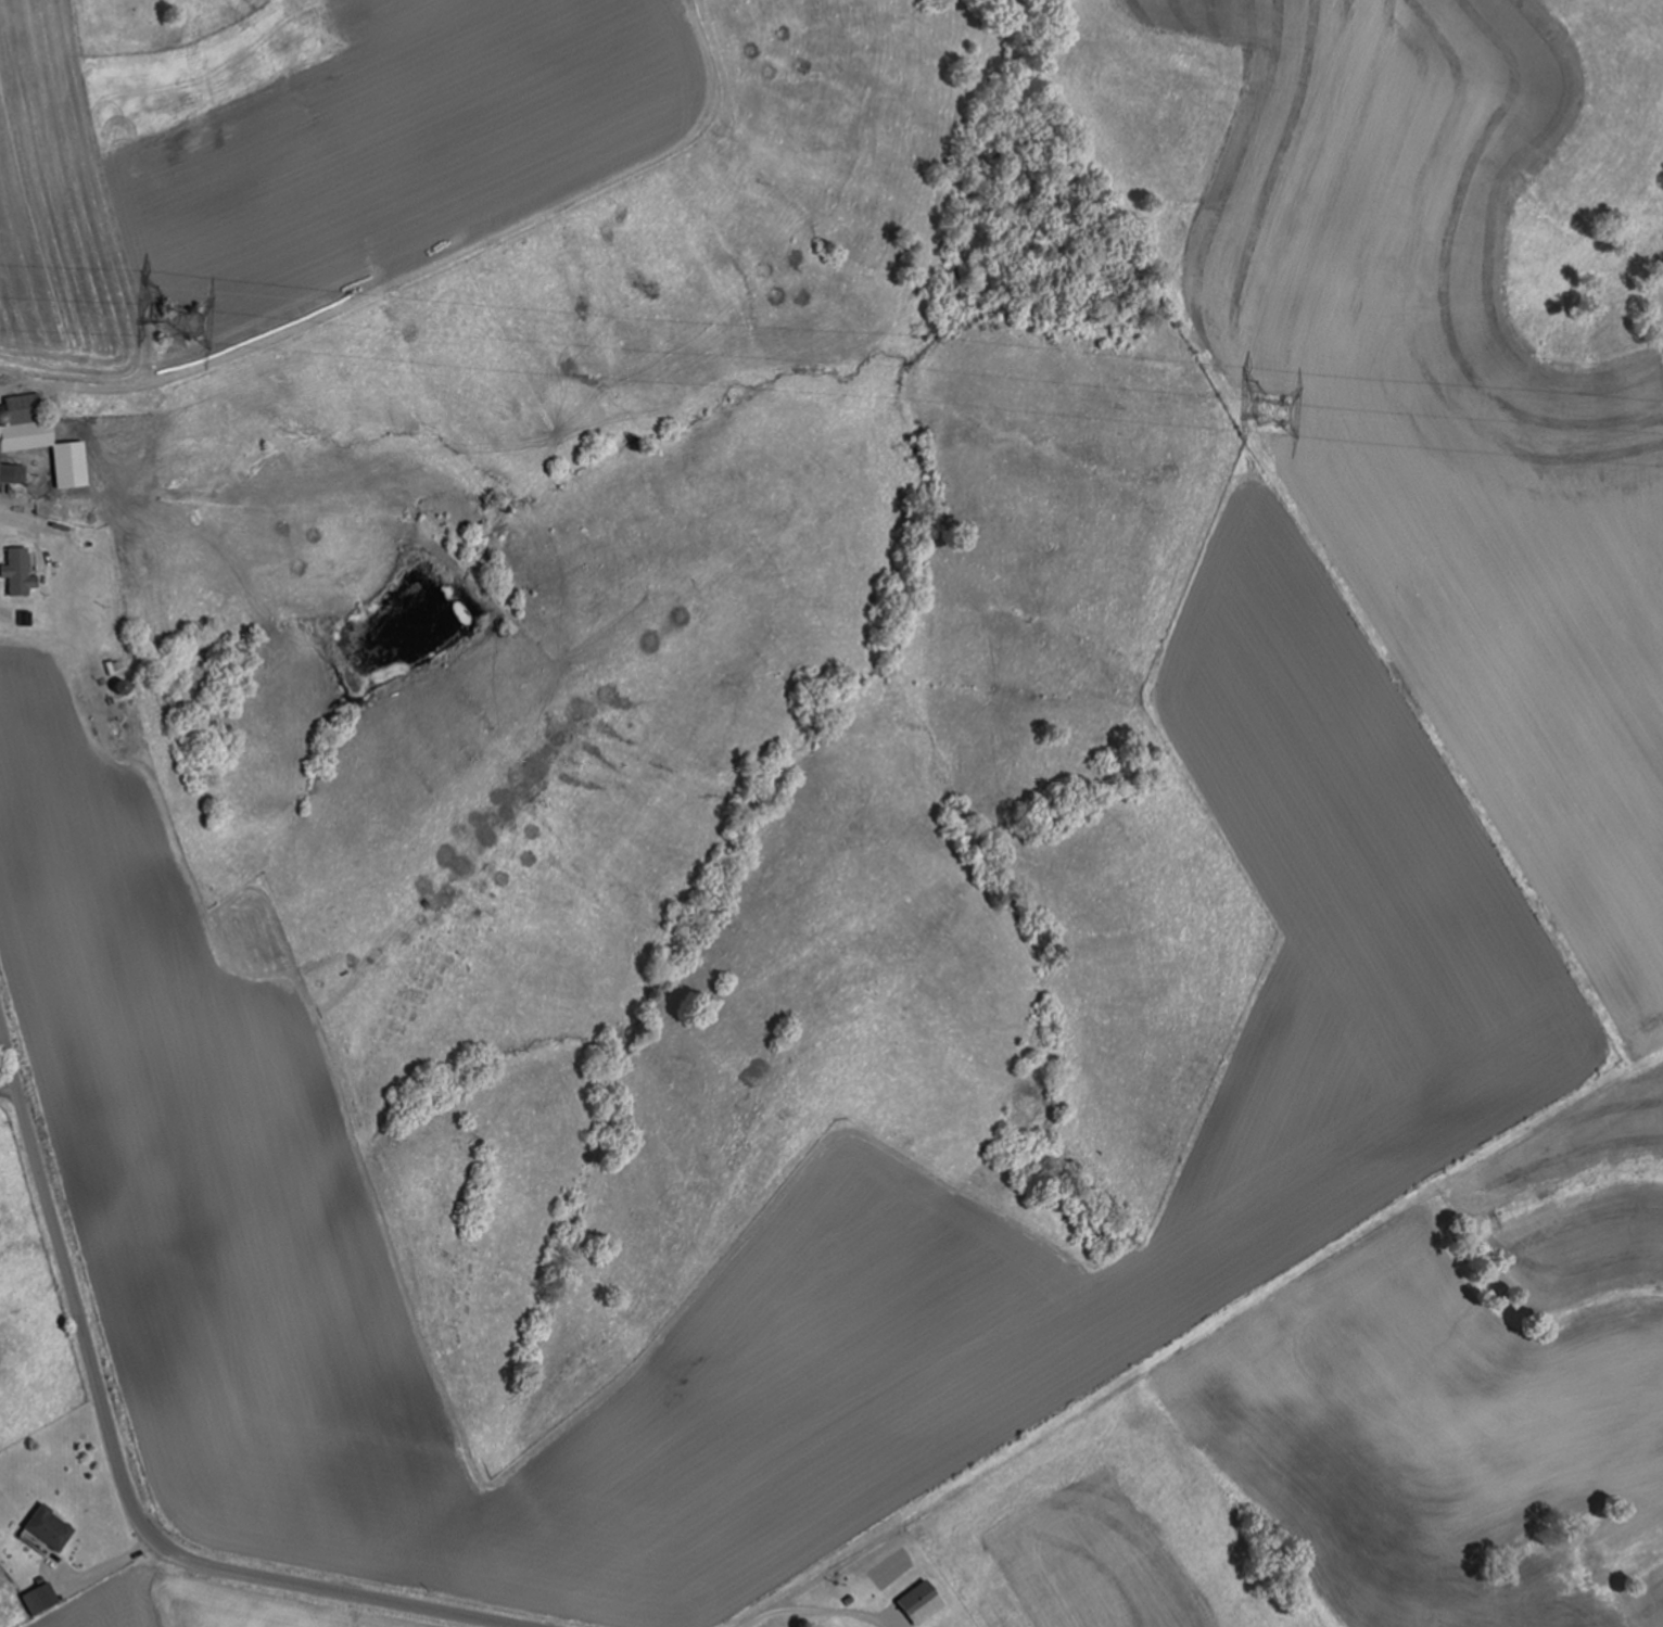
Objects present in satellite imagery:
power tower: (175, 325)
power tower: (1271, 409)
building: (41, 440)
building: (13, 474)
building: (73, 529)
building: (251, 530)
building: (20, 572)
building: (119, 687)
road: (46, 1181)
building: (50, 1530)
road: (204, 1587)
building: (43, 1600)
road: (818, 1611)

